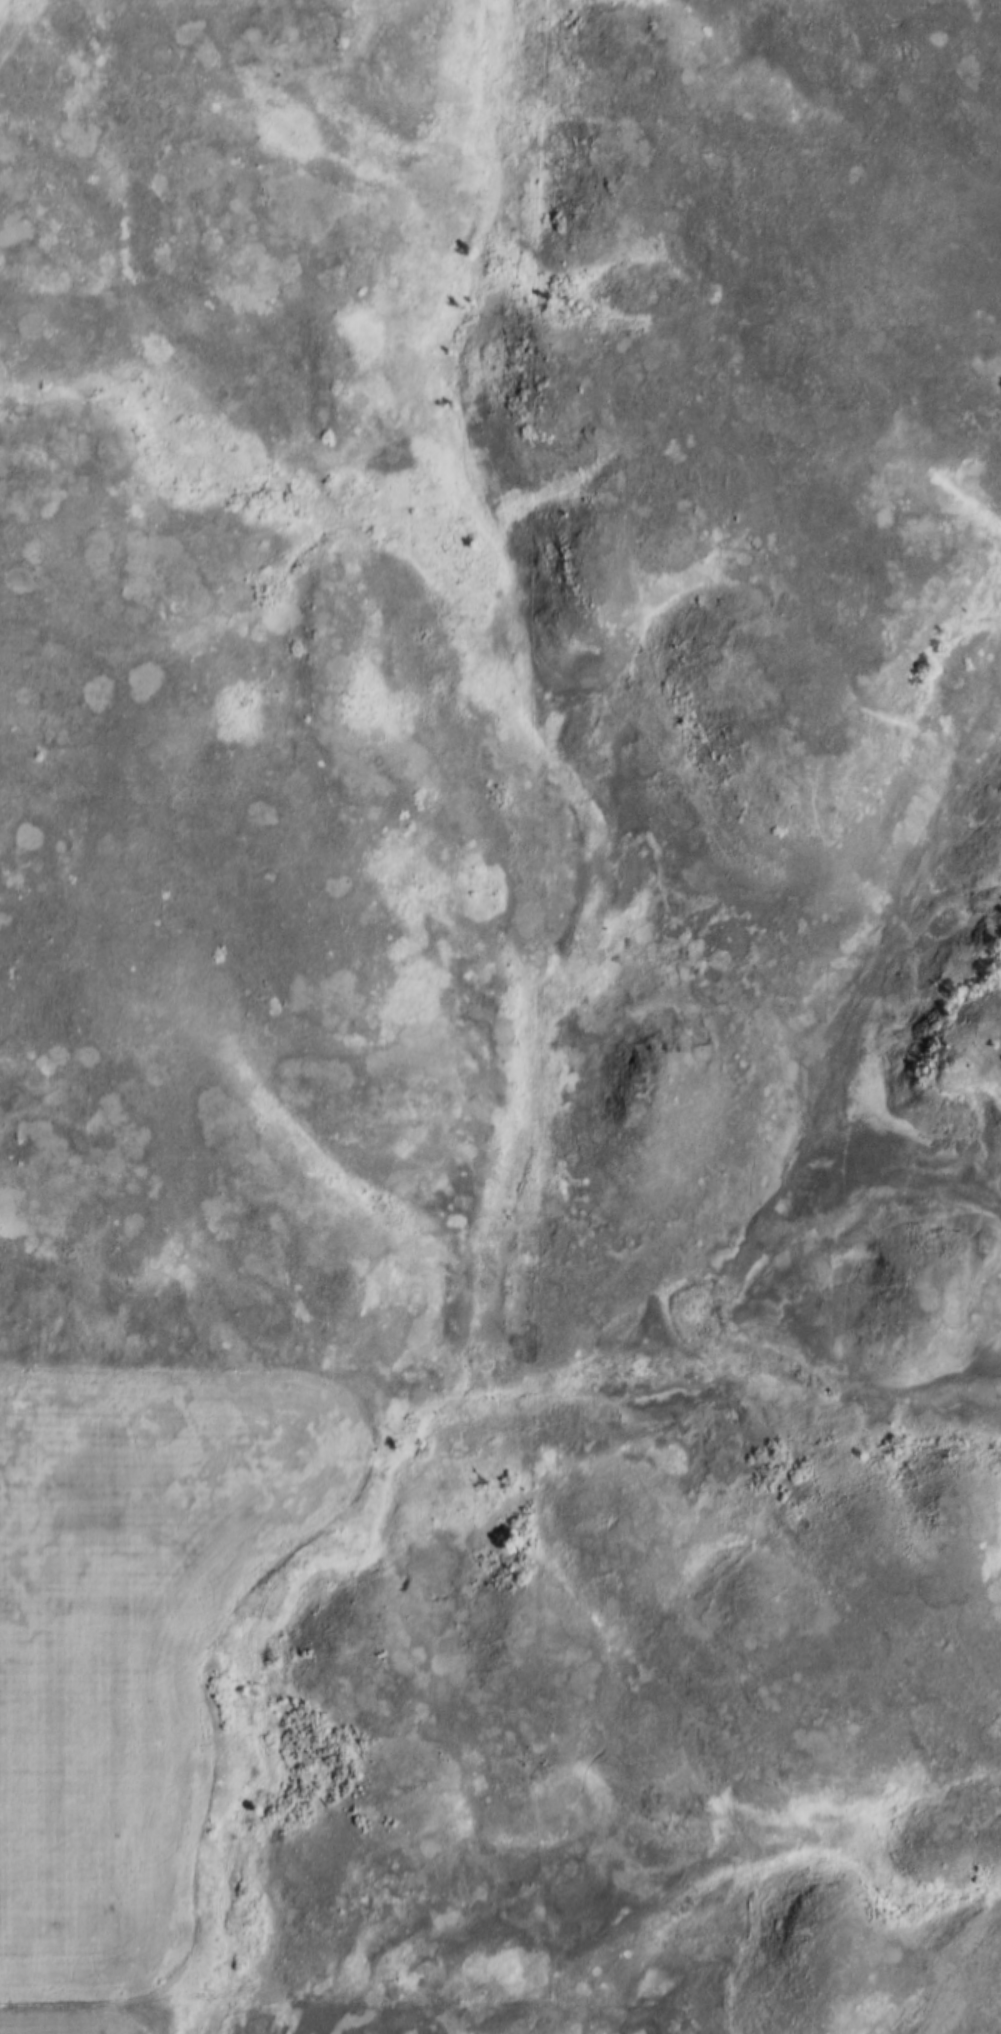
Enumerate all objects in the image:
road: (3, 4)

